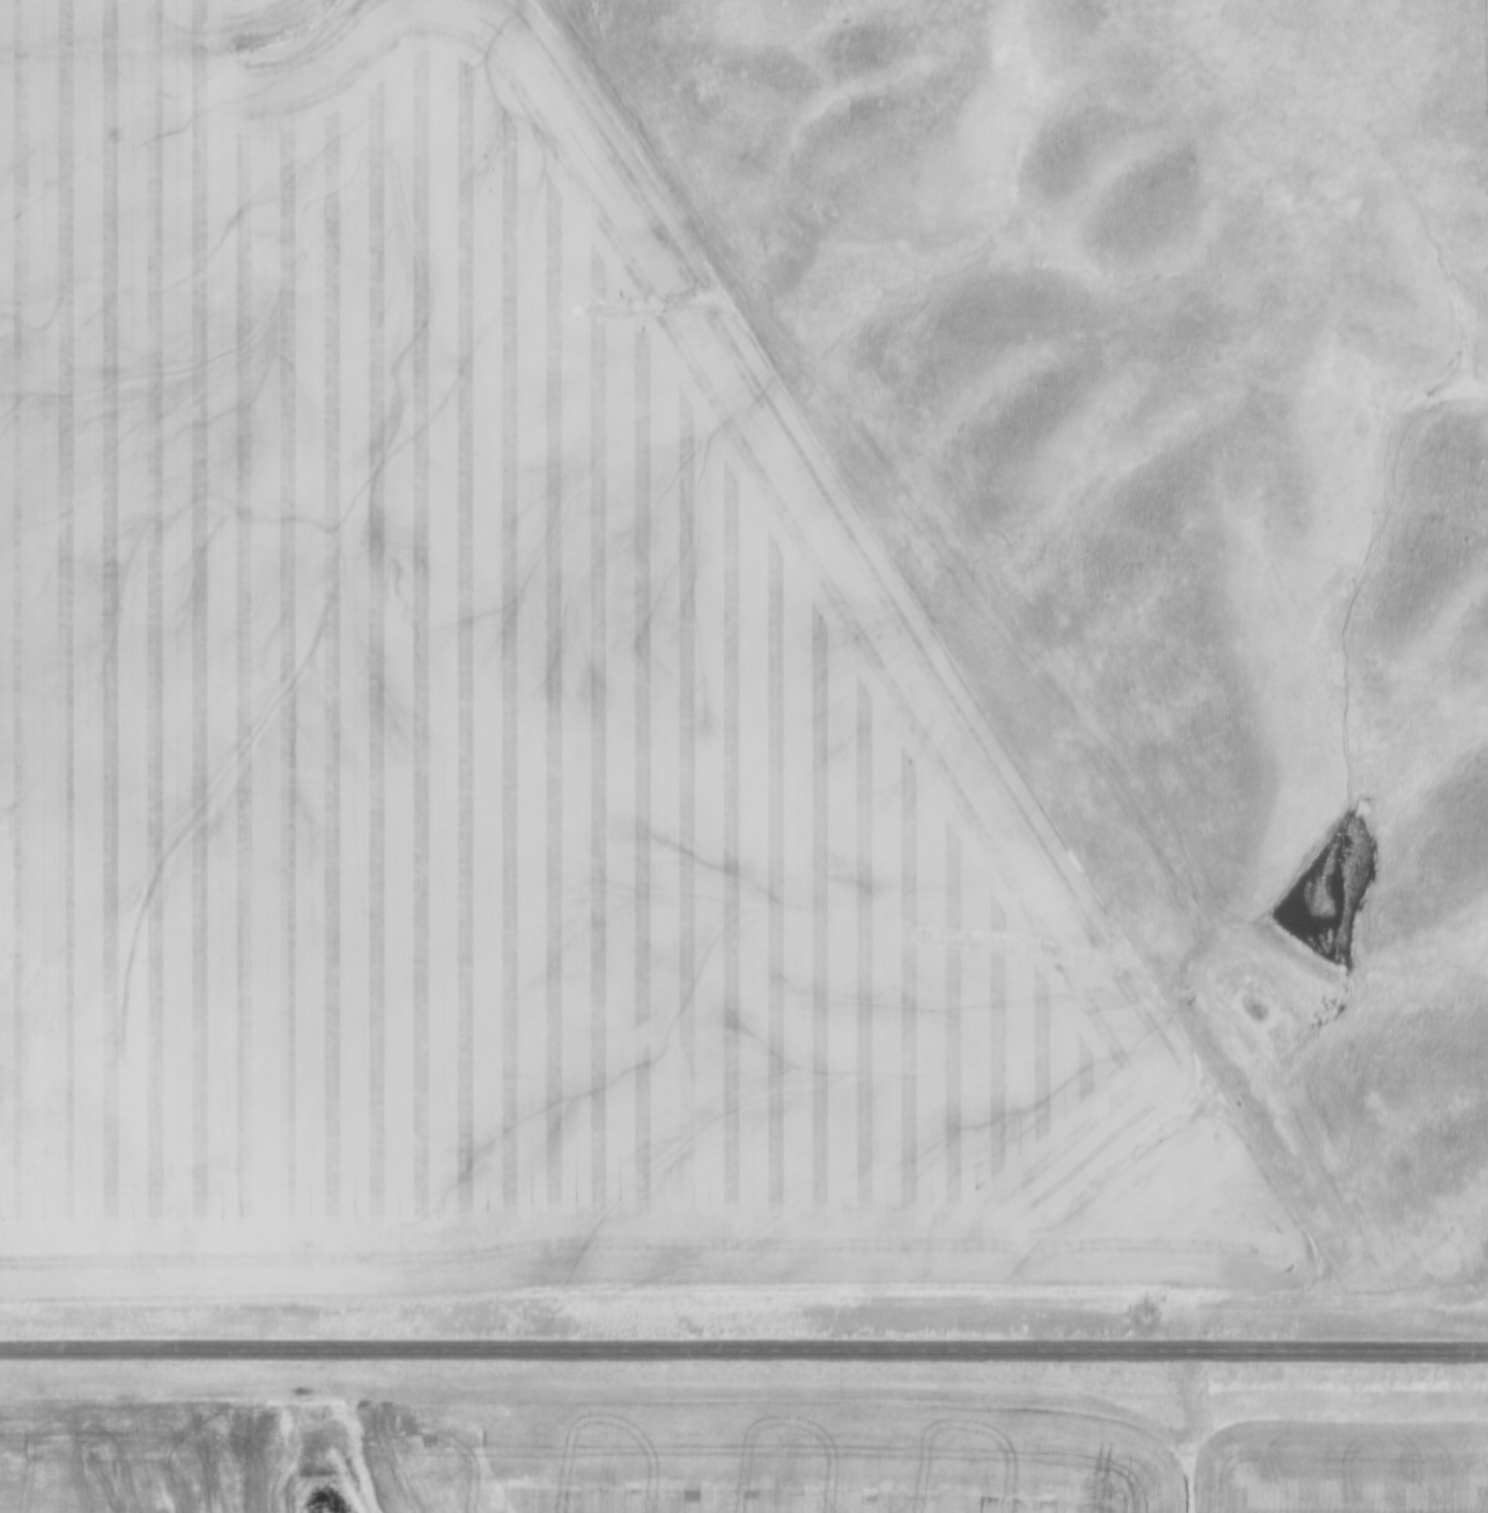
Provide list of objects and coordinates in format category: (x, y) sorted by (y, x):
road: (743, 1350)

